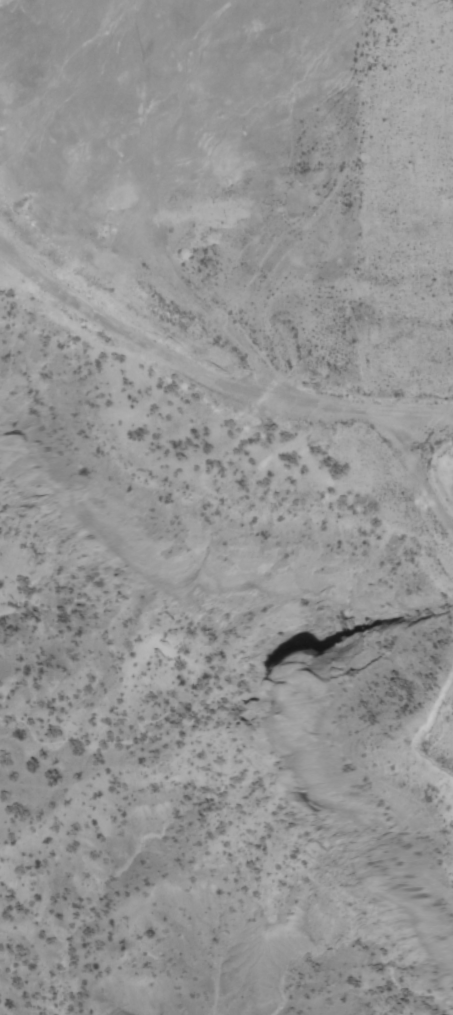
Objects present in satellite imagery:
road: (253, 268)

